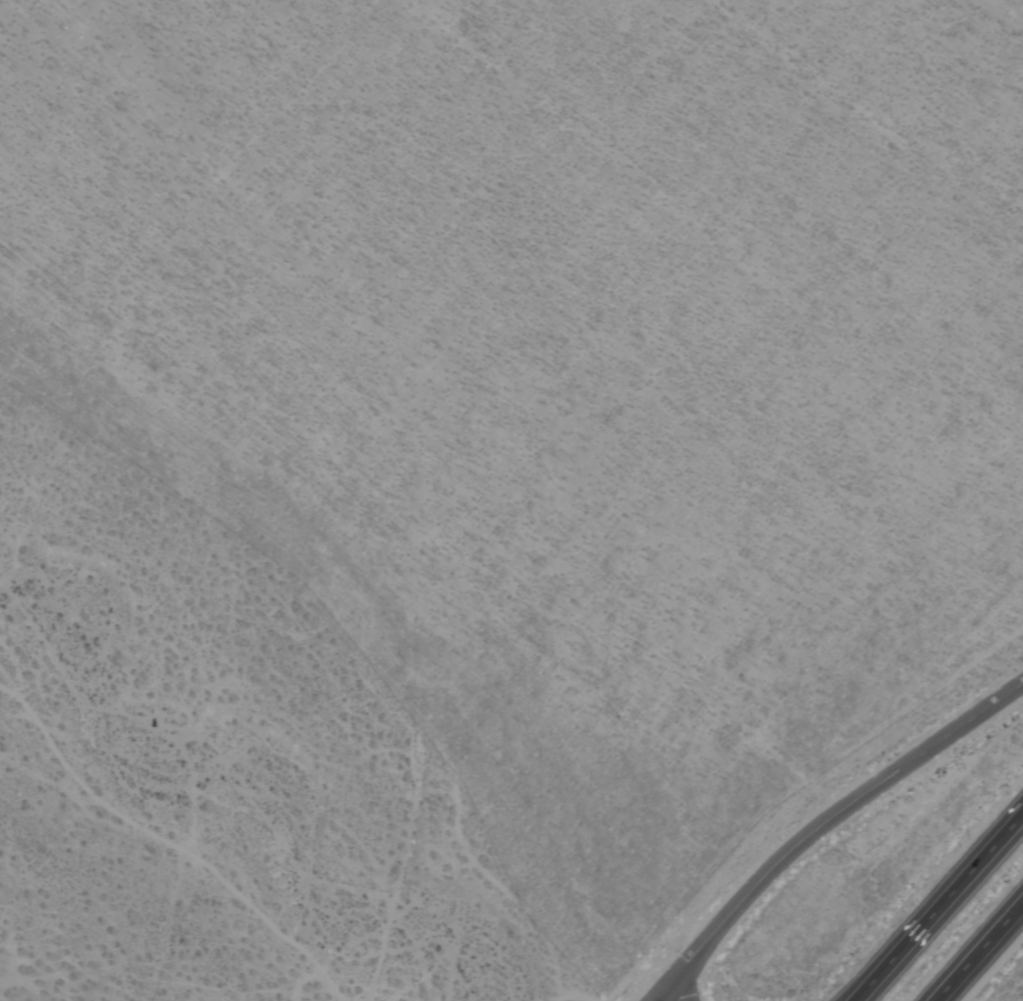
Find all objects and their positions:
road: (822, 825)
road: (940, 908)
road: (980, 953)
road: (666, 996)

